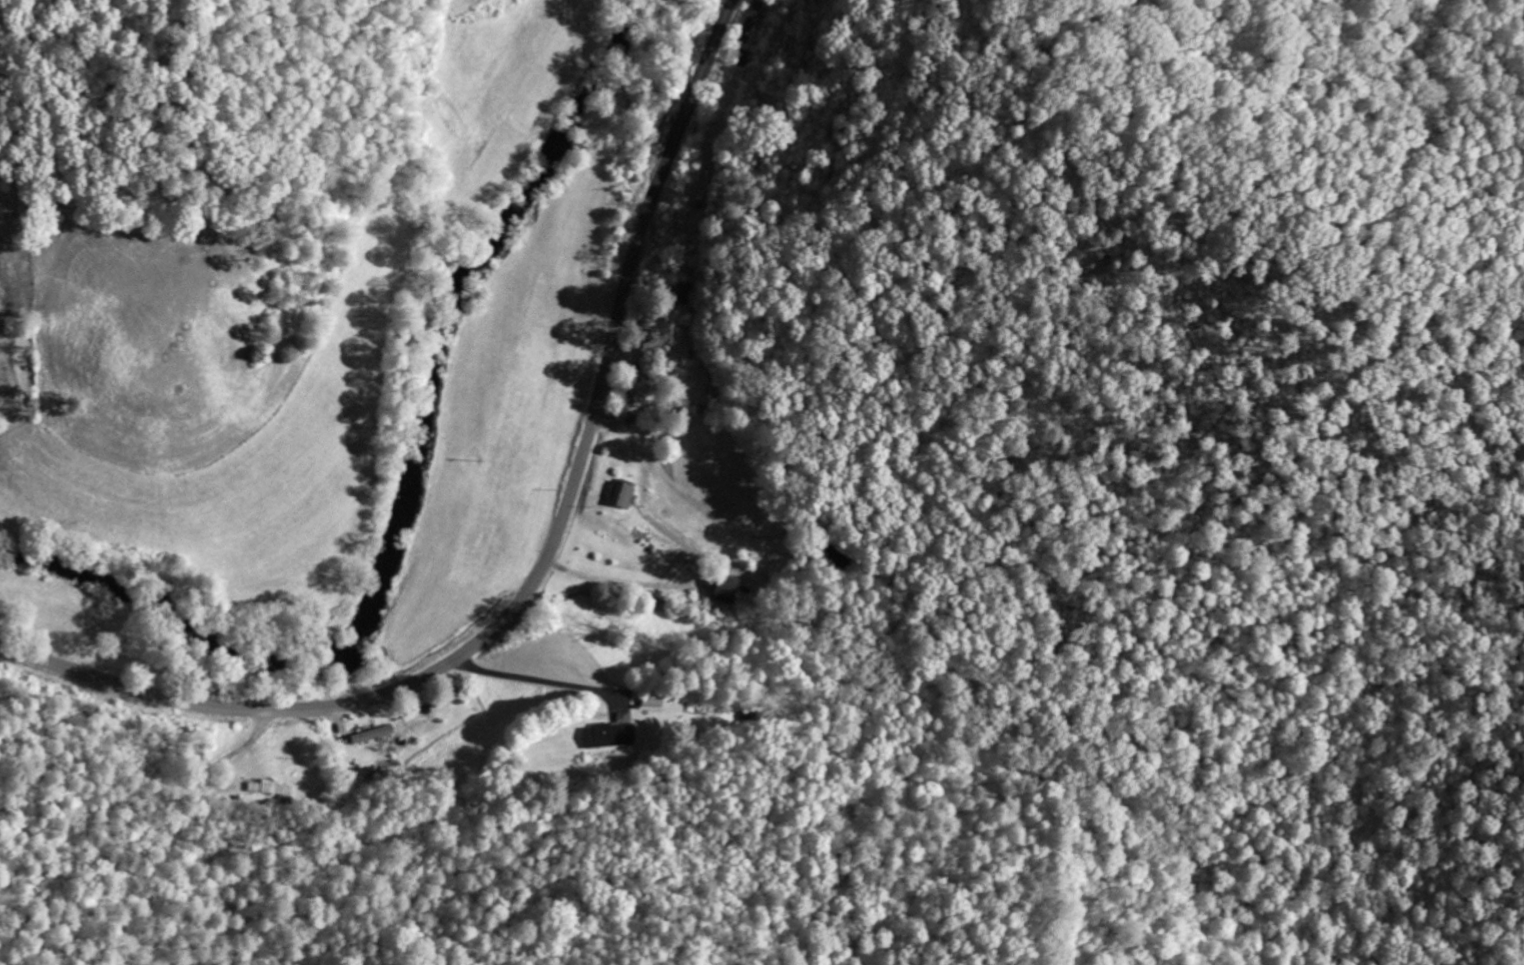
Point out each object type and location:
building: (620, 497)
road: (541, 567)
building: (724, 591)
road: (536, 680)
building: (607, 738)
road: (239, 749)

